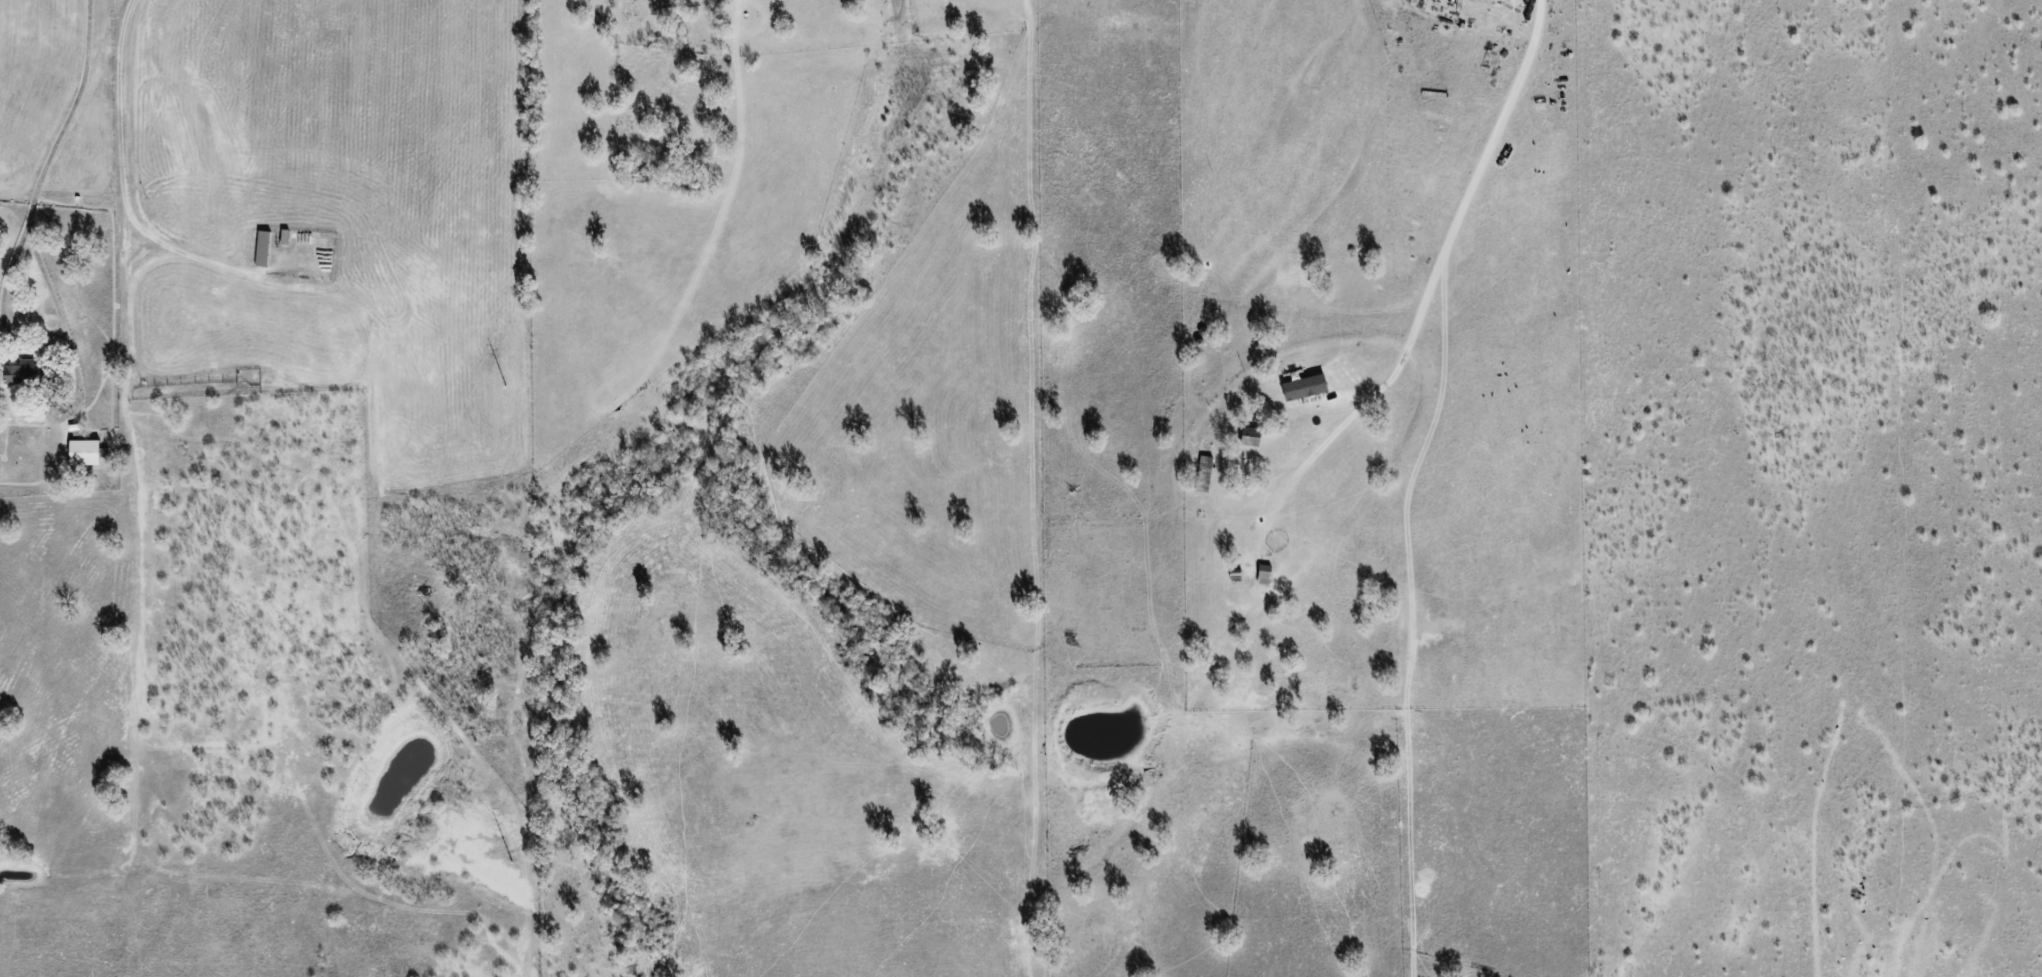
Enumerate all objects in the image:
road: (55, 152)
building: (261, 248)
road: (1443, 248)
building: (20, 371)
power tower: (505, 387)
building: (1303, 387)
building: (1249, 436)
building: (85, 451)
building: (1204, 473)
power tower: (511, 863)

